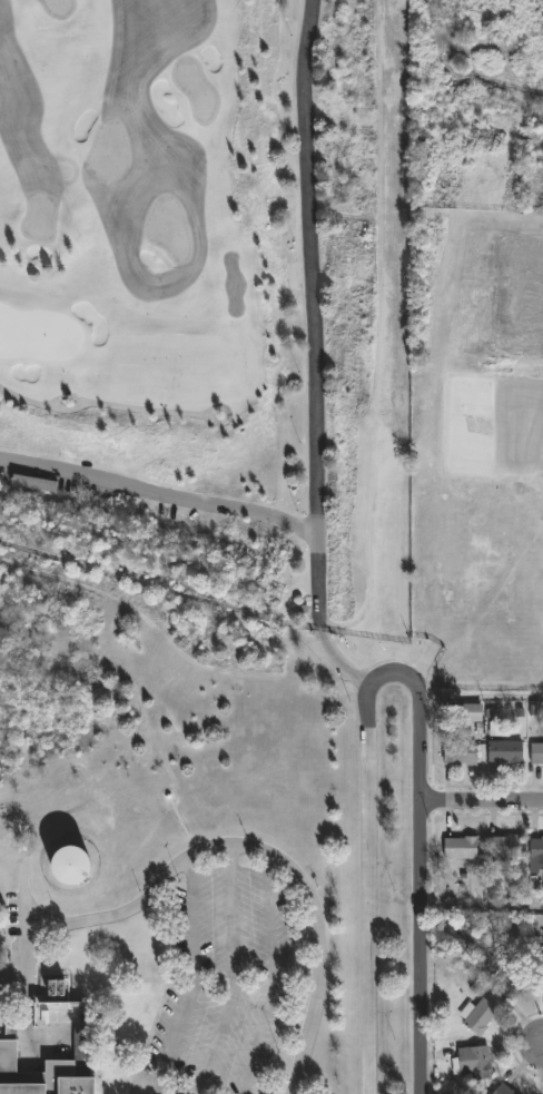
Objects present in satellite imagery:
park: (59, 8)
road: (451, 85)
park: (196, 89)
park: (110, 150)
park: (40, 217)
park: (169, 228)
park: (168, 248)
park: (234, 284)
park: (39, 335)
road: (316, 349)
road: (160, 479)
building: (32, 482)
road: (393, 670)
road: (483, 697)
building: (464, 711)
building: (503, 751)
building: (535, 752)
building: (458, 753)
road: (482, 799)
building: (460, 846)
building: (503, 848)
building: (535, 854)
road: (276, 863)
building: (70, 866)
road: (22, 890)
road: (483, 909)
building: (542, 973)
road: (236, 975)
road: (269, 978)
building: (510, 983)
road: (192, 986)
parking lot: (224, 990)
building: (476, 1014)
road: (542, 1045)
building: (471, 1061)
building: (39, 1075)
building: (502, 1090)

